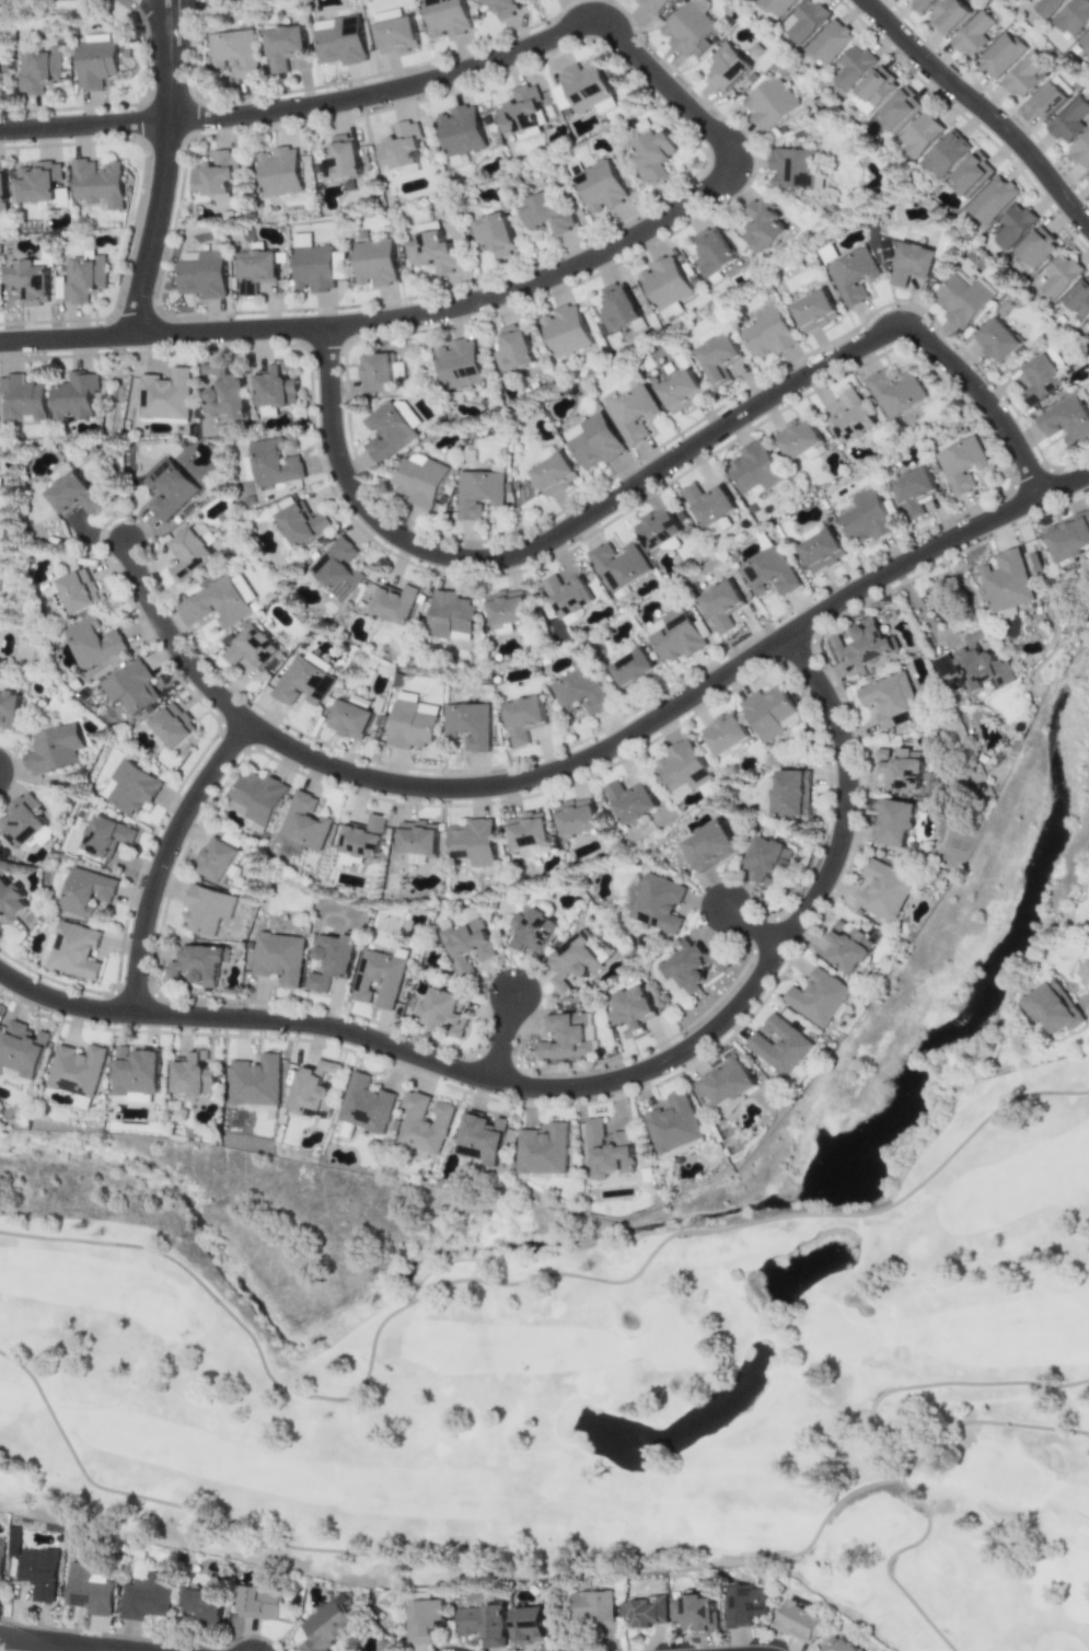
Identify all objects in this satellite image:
street lamp: (614, 1)
building: (922, 4)
building: (650, 5)
building: (773, 5)
building: (501, 7)
building: (1045, 7)
building: (948, 15)
building: (1071, 16)
building: (445, 18)
building: (803, 20)
road: (153, 26)
road: (177, 26)
building: (687, 26)
building: (972, 33)
building: (396, 35)
building: (94, 37)
building: (340, 39)
building: (827, 42)
building: (285, 46)
building: (235, 51)
building: (1000, 54)
street lamp: (538, 59)
building: (94, 63)
street lamp: (433, 63)
building: (851, 66)
building: (38, 67)
building: (727, 68)
building: (1022, 74)
street lamp: (189, 83)
building: (876, 85)
building: (579, 86)
street lamp: (656, 100)
building: (1044, 101)
building: (604, 105)
building: (862, 105)
road: (982, 107)
building: (896, 109)
building: (1068, 120)
street lamp: (306, 123)
road: (83, 125)
building: (460, 130)
building: (919, 134)
street lamp: (11, 143)
building: (401, 146)
street lamp: (754, 147)
building: (945, 153)
building: (652, 154)
building: (341, 158)
street lamp: (147, 159)
road: (735, 161)
road: (162, 169)
building: (279, 171)
building: (970, 174)
building: (1088, 174)
building: (216, 176)
building: (37, 182)
building: (96, 182)
building: (599, 186)
building: (2, 188)
building: (990, 199)
building: (544, 212)
building: (762, 226)
building: (1010, 226)
building: (494, 234)
street lamp: (594, 239)
building: (1036, 246)
building: (431, 247)
building: (713, 251)
building: (373, 262)
building: (912, 263)
building: (314, 264)
building: (254, 269)
building: (201, 274)
building: (1059, 275)
building: (853, 276)
building: (27, 281)
building: (663, 282)
building: (1078, 297)
building: (962, 298)
building: (617, 307)
building: (669, 311)
building: (814, 311)
street lamp: (478, 316)
building: (1088, 321)
building: (564, 331)
street lamp: (855, 331)
building: (768, 332)
road: (68, 338)
building: (996, 340)
building: (513, 348)
building: (1054, 357)
building: (718, 358)
building: (457, 363)
building: (375, 372)
building: (1041, 378)
street lamp: (989, 384)
building: (275, 385)
building: (223, 392)
building: (680, 392)
building: (895, 392)
building: (164, 394)
street lamp: (802, 394)
building: (72, 395)
building: (20, 401)
building: (632, 414)
building: (850, 417)
building: (1065, 420)
building: (385, 431)
street lamp: (314, 432)
street lamp: (680, 436)
road: (114, 437)
building: (592, 440)
building: (799, 440)
building: (274, 462)
building: (960, 464)
building: (247, 467)
building: (754, 469)
building: (60, 472)
building: (554, 474)
road: (650, 474)
building: (417, 480)
building: (169, 488)
building: (913, 490)
building: (477, 493)
building: (71, 495)
building: (708, 503)
street lamp: (619, 510)
building: (865, 519)
building: (301, 524)
building: (718, 526)
building: (657, 528)
building: (204, 533)
building: (1068, 538)
building: (282, 540)
building: (821, 550)
building: (187, 554)
building: (617, 564)
building: (336, 568)
building: (767, 571)
street lamp: (478, 575)
building: (1006, 580)
building: (79, 590)
building: (567, 594)
building: (219, 601)
building: (395, 603)
building: (720, 605)
building: (506, 610)
building: (449, 616)
building: (673, 635)
building: (94, 642)
road: (174, 642)
building: (860, 646)
building: (251, 648)
building: (980, 666)
building: (633, 669)
building: (302, 682)
building: (130, 686)
building: (579, 691)
building: (890, 700)
road: (683, 703)
building: (8, 708)
building: (769, 712)
building: (523, 718)
building: (348, 719)
building: (412, 724)
building: (172, 725)
building: (467, 725)
building: (723, 734)
building: (53, 749)
building: (899, 767)
building: (681, 769)
building: (129, 787)
building: (789, 794)
building: (256, 797)
building: (629, 800)
building: (576, 817)
building: (21, 821)
building: (304, 821)
building: (892, 821)
building: (528, 830)
building: (105, 835)
building: (363, 838)
building: (417, 838)
building: (474, 841)
building: (707, 845)
road: (165, 858)
building: (216, 858)
building: (765, 859)
building: (883, 890)
building: (85, 891)
building: (10, 901)
building: (658, 903)
building: (207, 909)
road: (754, 927)
building: (531, 931)
building: (465, 946)
building: (847, 948)
building: (74, 950)
building: (279, 957)
building: (331, 960)
building: (571, 961)
building: (198, 963)
building: (691, 966)
building: (378, 978)
building: (816, 997)
road: (1086, 1006)
building: (1053, 1007)
building: (629, 1008)
building: (443, 1013)
building: (568, 1036)
road: (505, 1039)
building: (779, 1044)
building: (21, 1048)
building: (76, 1070)
building: (135, 1071)
building: (192, 1075)
building: (254, 1081)
building: (725, 1084)
building: (312, 1087)
road: (579, 1088)
building: (138, 1097)
building: (81, 1104)
building: (366, 1104)
building: (314, 1113)
building: (424, 1123)
building: (672, 1124)
building: (480, 1138)
building: (542, 1150)
building: (606, 1151)
park: (579, 1367)
building: (13, 1542)
building: (0, 1557)
building: (38, 1572)
building: (86, 1590)
building: (144, 1596)
building: (258, 1603)
building: (200, 1605)
building: (743, 1605)
building: (594, 1606)
building: (646, 1610)
building: (694, 1612)
building: (421, 1619)
building: (797, 1621)
building: (483, 1624)
building: (325, 1625)
building: (526, 1625)
building: (837, 1644)
road: (35, 1646)

